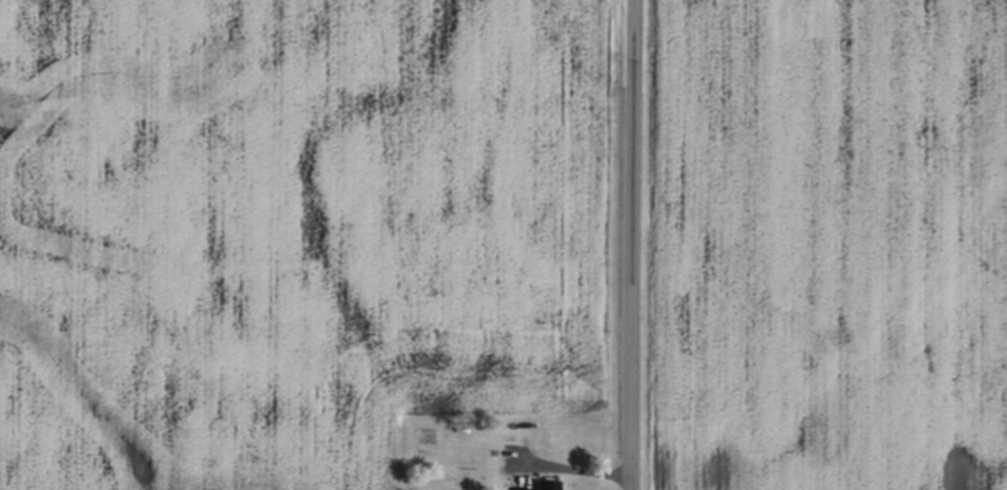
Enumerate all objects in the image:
road: (632, 244)
road: (571, 469)
building: (548, 486)

